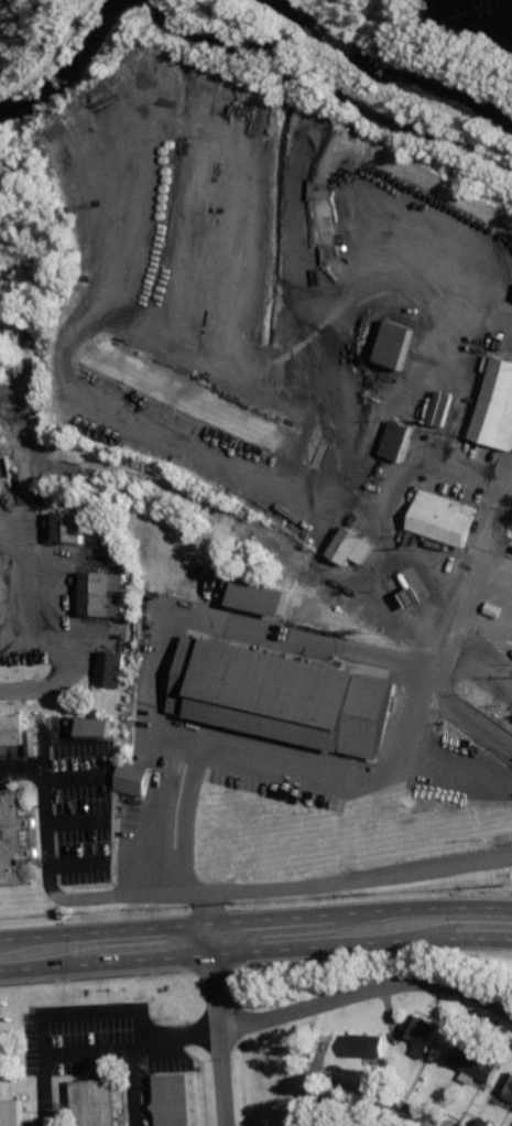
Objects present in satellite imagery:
road: (399, 11)
road: (422, 41)
road: (52, 54)
park: (370, 68)
building: (401, 344)
road: (320, 380)
building: (497, 408)
building: (399, 441)
building: (442, 518)
building: (70, 527)
road: (493, 537)
building: (350, 548)
building: (104, 594)
building: (261, 598)
road: (472, 611)
road: (165, 632)
road: (62, 642)
building: (110, 669)
road: (448, 683)
building: (282, 694)
building: (97, 728)
building: (12, 730)
building: (33, 743)
road: (347, 770)
building: (134, 778)
building: (15, 841)
road: (341, 876)
road: (52, 887)
road: (255, 920)
road: (255, 953)
road: (94, 976)
road: (367, 994)
road: (219, 1025)
building: (423, 1033)
road: (176, 1041)
building: (366, 1044)
road: (55, 1055)
road: (316, 1064)
building: (476, 1064)
road: (133, 1089)
building: (508, 1090)
road: (367, 1097)
building: (174, 1098)
road: (305, 1098)
building: (94, 1102)
building: (12, 1112)
building: (484, 1123)

